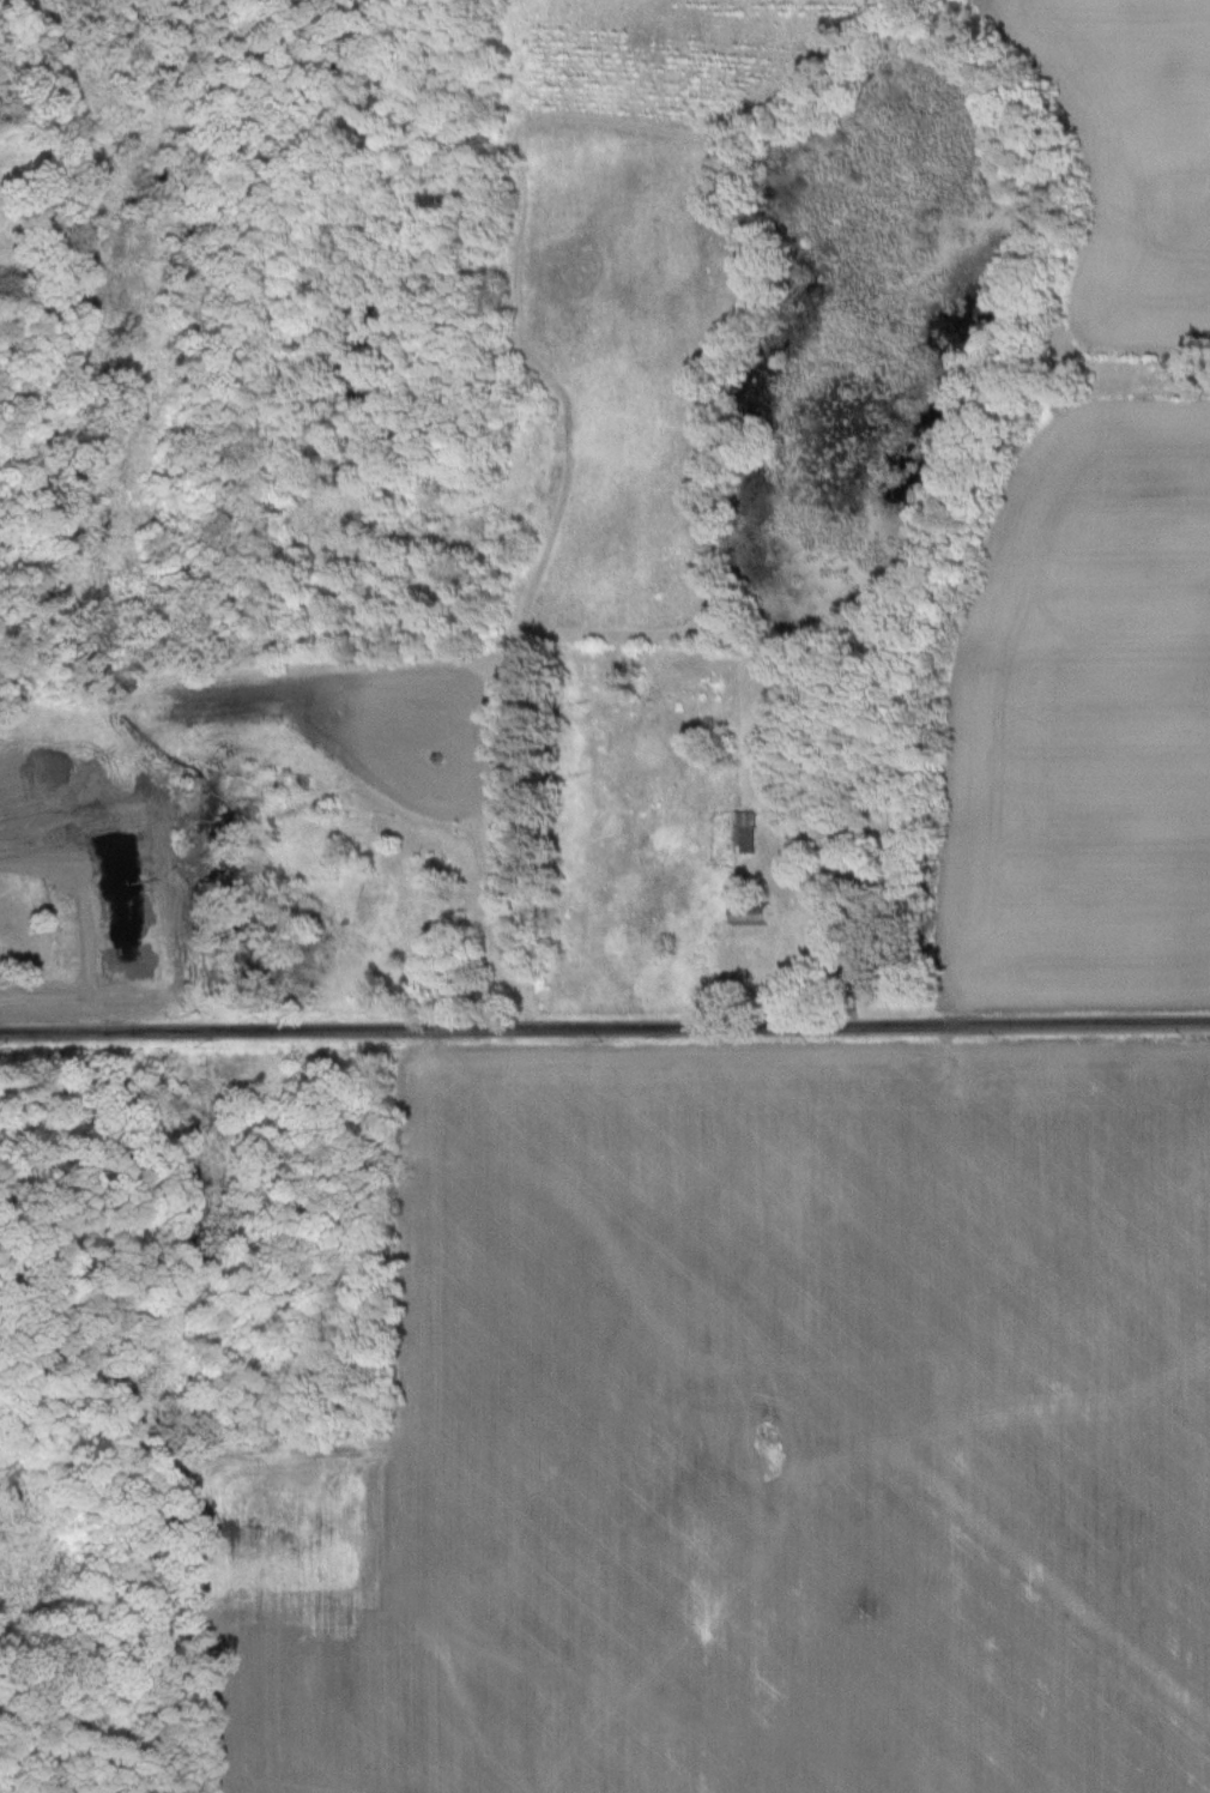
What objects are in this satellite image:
building: (743, 832)
road: (604, 1030)

